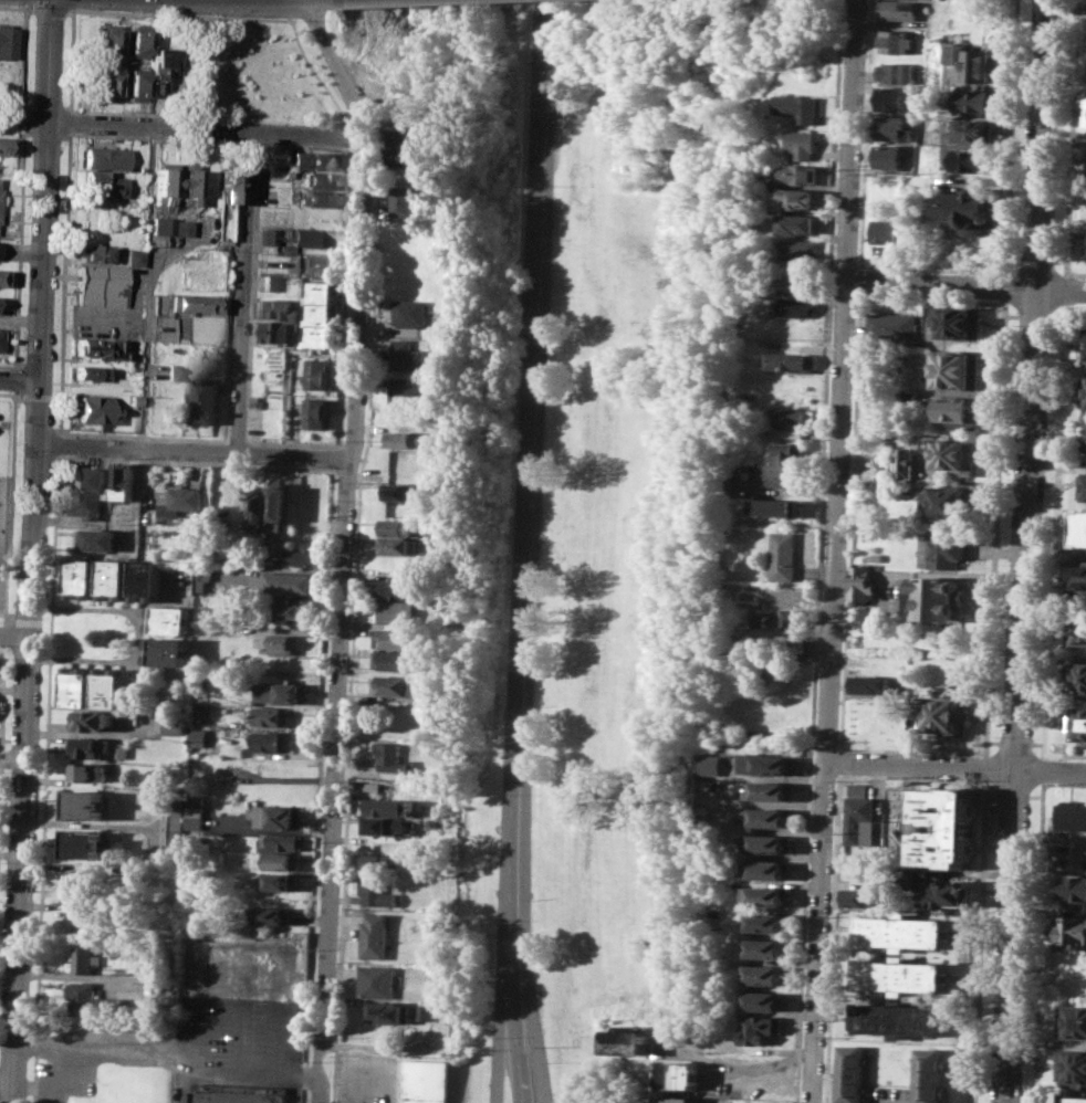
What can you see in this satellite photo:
road: (75, 3)
road: (30, 8)
road: (291, 8)
building: (897, 9)
road: (50, 10)
road: (72, 10)
road: (190, 14)
road: (291, 19)
building: (8, 40)
building: (107, 41)
building: (891, 41)
building: (136, 42)
road: (25, 44)
building: (972, 61)
building: (156, 69)
building: (892, 72)
building: (104, 82)
building: (135, 84)
building: (891, 98)
building: (977, 99)
building: (798, 107)
road: (134, 113)
road: (25, 119)
road: (67, 120)
road: (180, 126)
building: (890, 127)
building: (1085, 127)
building: (974, 129)
road: (347, 133)
road: (1009, 133)
road: (864, 134)
building: (406, 137)
road: (238, 141)
road: (248, 141)
road: (257, 144)
building: (801, 144)
building: (3, 146)
road: (353, 151)
road: (365, 153)
building: (889, 155)
building: (103, 157)
building: (406, 157)
building: (315, 158)
building: (973, 159)
building: (798, 174)
building: (319, 180)
building: (102, 182)
building: (184, 182)
building: (164, 183)
building: (227, 183)
building: (319, 198)
building: (800, 198)
building: (405, 199)
road: (236, 200)
building: (971, 209)
building: (798, 223)
building: (160, 224)
building: (178, 227)
building: (886, 230)
building: (268, 235)
building: (312, 237)
road: (253, 240)
road: (18, 249)
building: (797, 250)
building: (95, 252)
building: (1085, 252)
building: (134, 255)
road: (1011, 258)
road: (1034, 259)
road: (1057, 260)
road: (931, 269)
road: (1075, 272)
building: (2, 276)
road: (858, 279)
building: (271, 282)
building: (795, 282)
road: (63, 283)
road: (1004, 283)
road: (964, 284)
building: (102, 285)
road: (146, 286)
road: (243, 291)
road: (857, 294)
road: (839, 295)
road: (855, 296)
building: (192, 304)
building: (793, 306)
road: (1075, 306)
building: (276, 309)
building: (323, 313)
building: (413, 313)
road: (1010, 315)
road: (42, 316)
road: (1032, 316)
road: (1055, 316)
building: (957, 323)
building: (895, 325)
building: (276, 330)
building: (0, 336)
road: (342, 347)
building: (93, 348)
building: (1085, 351)
building: (409, 355)
building: (789, 361)
road: (7, 365)
building: (954, 368)
building: (173, 370)
building: (86, 372)
building: (316, 374)
road: (20, 379)
road: (13, 380)
building: (1084, 391)
road: (7, 393)
building: (407, 395)
building: (132, 399)
building: (206, 399)
building: (907, 400)
building: (257, 401)
building: (95, 409)
building: (952, 411)
building: (315, 412)
building: (793, 416)
road: (236, 428)
building: (789, 433)
road: (148, 437)
building: (1082, 437)
building: (405, 438)
road: (58, 444)
road: (850, 450)
road: (191, 451)
building: (785, 451)
building: (951, 453)
building: (905, 462)
road: (1056, 463)
park: (552, 466)
building: (776, 472)
building: (124, 482)
building: (868, 484)
building: (1082, 485)
road: (523, 490)
building: (87, 492)
building: (400, 492)
building: (180, 500)
building: (946, 500)
building: (278, 506)
building: (775, 506)
road: (9, 508)
building: (260, 510)
building: (399, 526)
road: (994, 527)
building: (1080, 527)
road: (54, 537)
building: (98, 539)
road: (343, 545)
building: (401, 545)
building: (944, 547)
road: (817, 550)
building: (201, 551)
road: (834, 551)
road: (1023, 551)
road: (1053, 551)
building: (305, 554)
building: (783, 556)
building: (199, 575)
building: (81, 577)
building: (113, 578)
building: (145, 579)
building: (1076, 580)
building: (284, 582)
building: (860, 582)
building: (397, 588)
building: (933, 598)
building: (292, 609)
road: (2, 611)
building: (396, 611)
building: (791, 618)
building: (168, 619)
road: (8, 620)
building: (756, 620)
road: (27, 621)
road: (45, 622)
road: (352, 626)
road: (14, 631)
building: (1077, 632)
road: (3, 634)
road: (139, 637)
building: (395, 638)
building: (276, 642)
road: (1, 647)
building: (167, 652)
building: (395, 660)
building: (1077, 679)
building: (870, 683)
building: (77, 685)
building: (395, 685)
building: (108, 686)
building: (429, 686)
road: (1, 687)
building: (280, 693)
building: (942, 712)
building: (270, 715)
building: (92, 718)
building: (1080, 723)
building: (171, 724)
building: (758, 733)
building: (196, 736)
building: (269, 740)
road: (993, 740)
road: (1014, 742)
road: (1037, 743)
building: (88, 747)
building: (119, 749)
road: (911, 750)
road: (1048, 754)
road: (1068, 754)
building: (391, 757)
road: (839, 761)
building: (769, 763)
road: (957, 767)
road: (984, 768)
building: (86, 771)
road: (911, 776)
road: (1065, 782)
building: (372, 788)
building: (769, 790)
road: (991, 792)
road: (1012, 794)
road: (1036, 795)
building: (85, 805)
building: (386, 806)
building: (192, 812)
building: (859, 813)
building: (1071, 813)
building: (276, 815)
building: (772, 817)
building: (382, 824)
building: (173, 826)
building: (958, 828)
building: (366, 840)
building: (281, 841)
building: (85, 843)
building: (770, 843)
building: (281, 860)
building: (378, 860)
road: (41, 862)
road: (21, 868)
building: (769, 870)
building: (279, 881)
building: (79, 883)
building: (1073, 886)
building: (374, 889)
building: (766, 894)
building: (948, 894)
building: (864, 896)
building: (271, 914)
building: (87, 920)
building: (769, 922)
building: (904, 931)
building: (1069, 932)
building: (375, 935)
road: (832, 937)
road: (978, 941)
building: (766, 947)
building: (84, 954)
building: (764, 974)
building: (901, 975)
building: (377, 980)
building: (83, 997)
building: (764, 1000)
building: (387, 1011)
building: (425, 1012)
building: (899, 1019)
parking lot: (202, 1020)
building: (1072, 1021)
building: (761, 1028)
road: (530, 1041)
building: (627, 1041)
road: (513, 1042)
road: (128, 1044)
road: (500, 1063)
road: (763, 1065)
building: (1072, 1067)
building: (854, 1072)
building: (678, 1074)
building: (930, 1074)
road: (7, 1075)
road: (253, 1075)
building: (429, 1082)
building: (239, 1096)
building: (677, 1099)
building: (1074, 1099)

